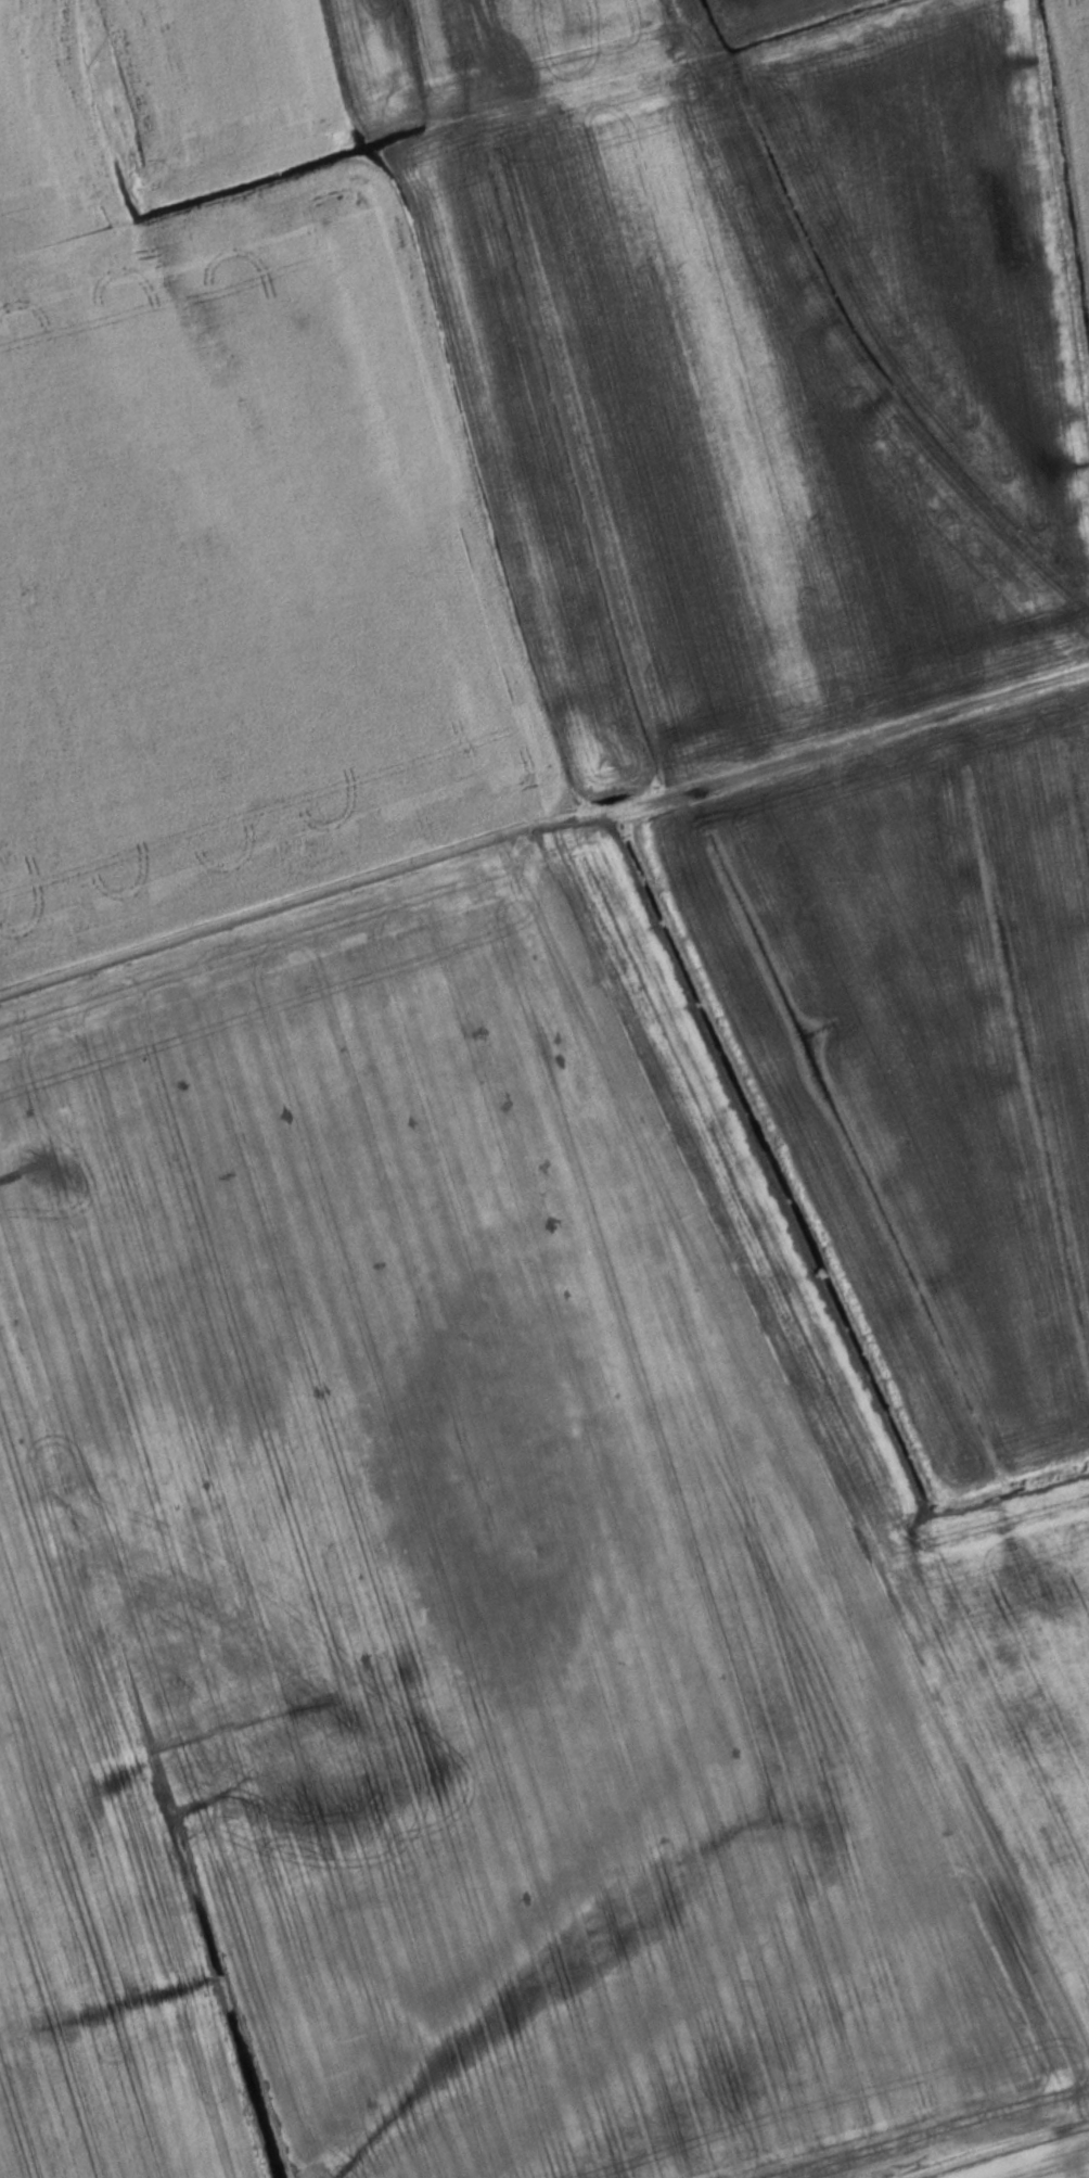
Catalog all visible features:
road: (542, 820)
road: (990, 2147)

